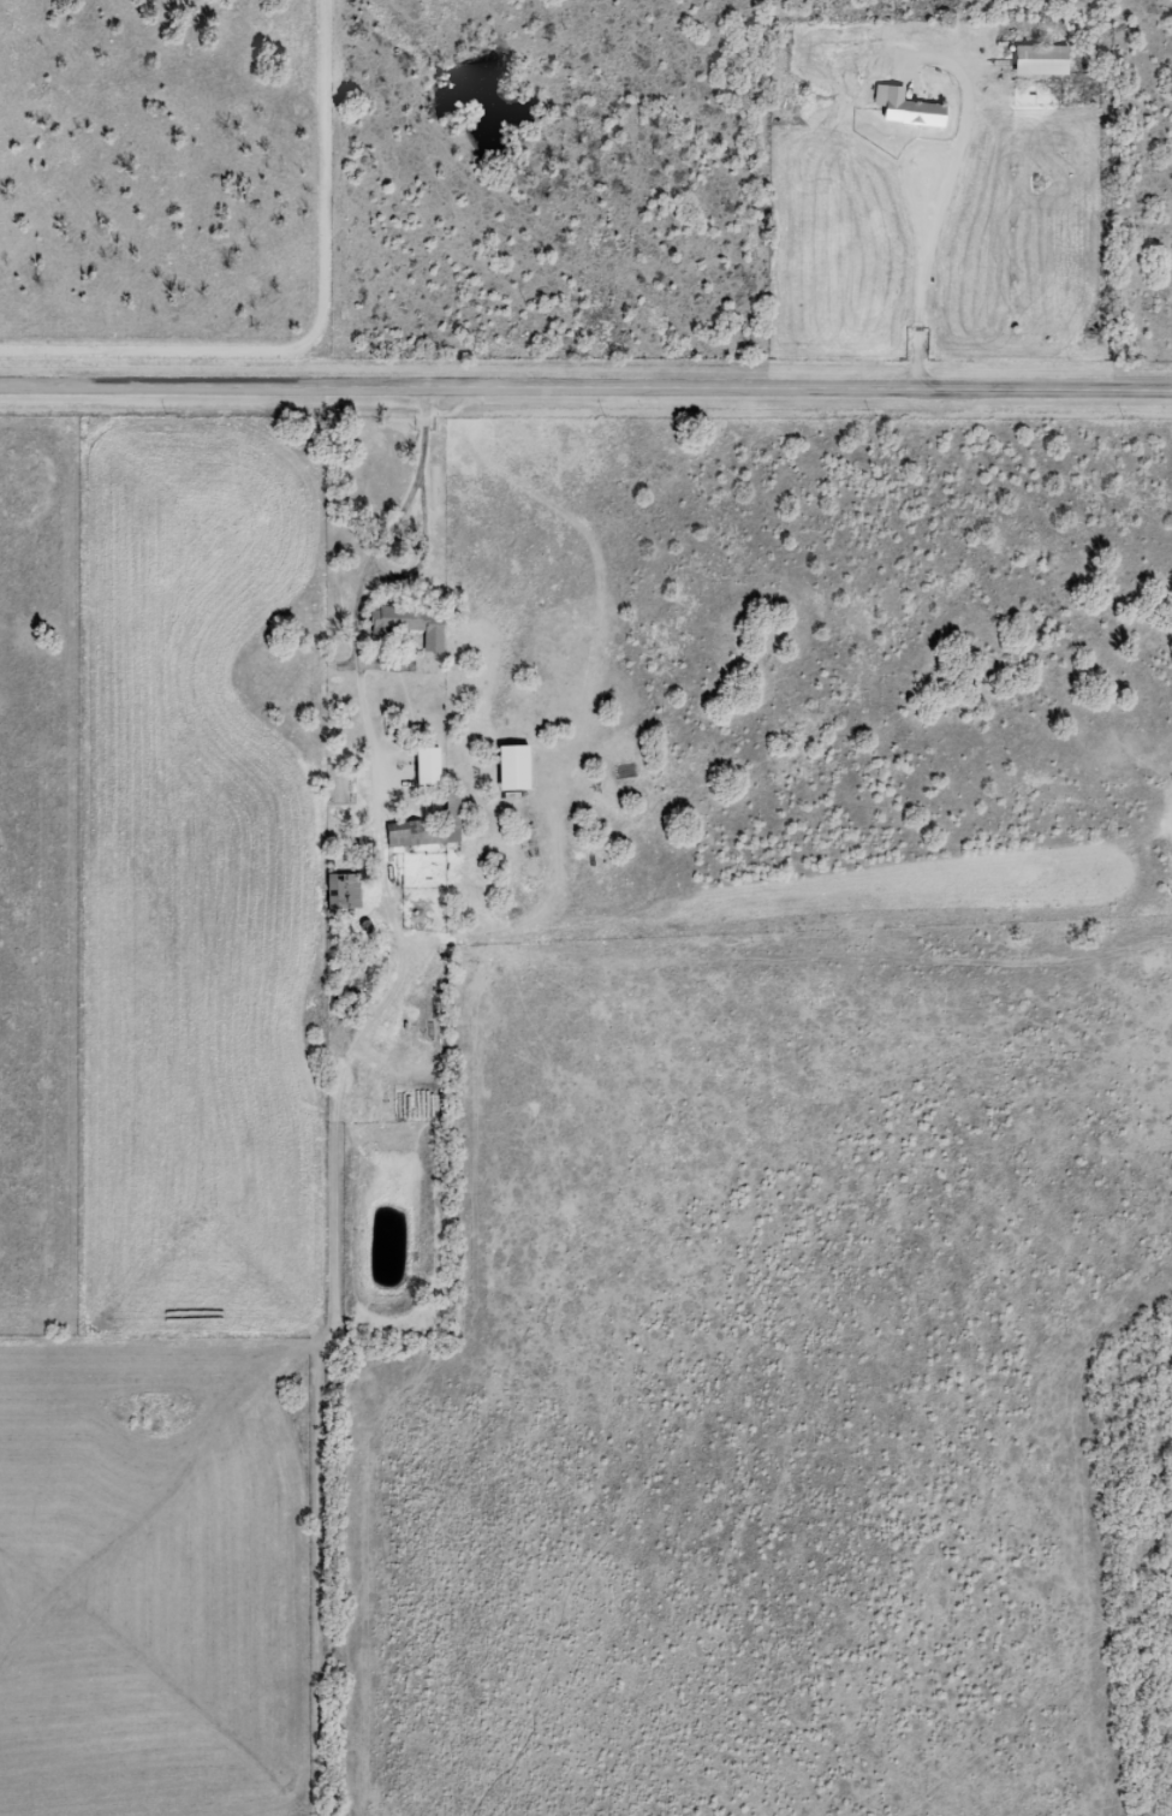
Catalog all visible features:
building: (1042, 59)
building: (908, 108)
road: (585, 386)
building: (411, 624)
building: (428, 766)
building: (514, 767)
building: (452, 808)
building: (344, 891)
road: (512, 933)
road: (389, 1002)

